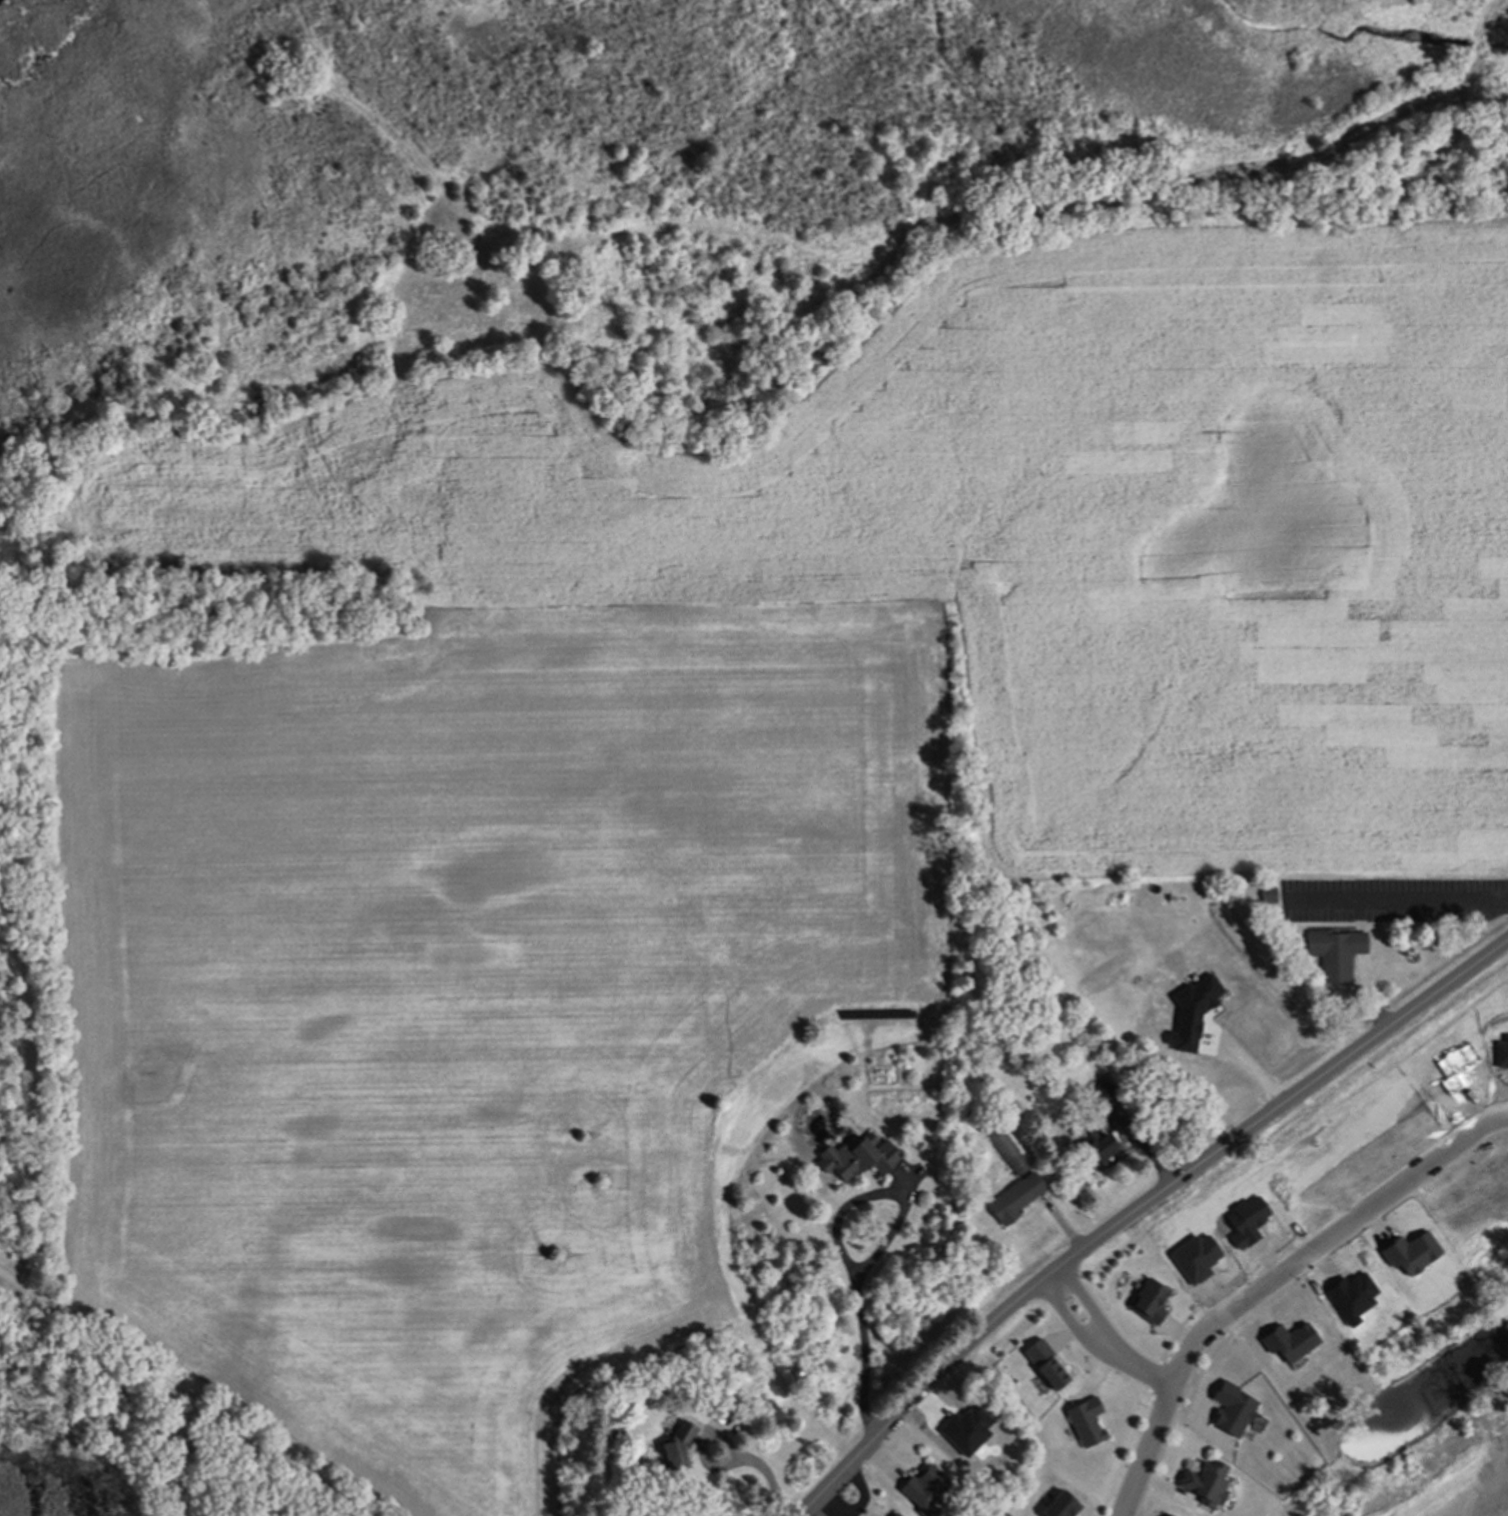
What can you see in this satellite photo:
road: (1406, 901)
building: (1333, 953)
road: (1246, 1064)
building: (1101, 1102)
building: (1095, 1150)
building: (1008, 1152)
building: (862, 1158)
road: (1379, 1193)
road: (1138, 1210)
road: (841, 1245)
road: (1091, 1310)
road: (1072, 1326)
road: (1143, 1373)
road: (1171, 1387)
road: (180, 1389)
building: (1229, 1411)
building: (674, 1452)
road: (762, 1467)
building: (1201, 1484)
building: (921, 1489)
building: (891, 1515)

